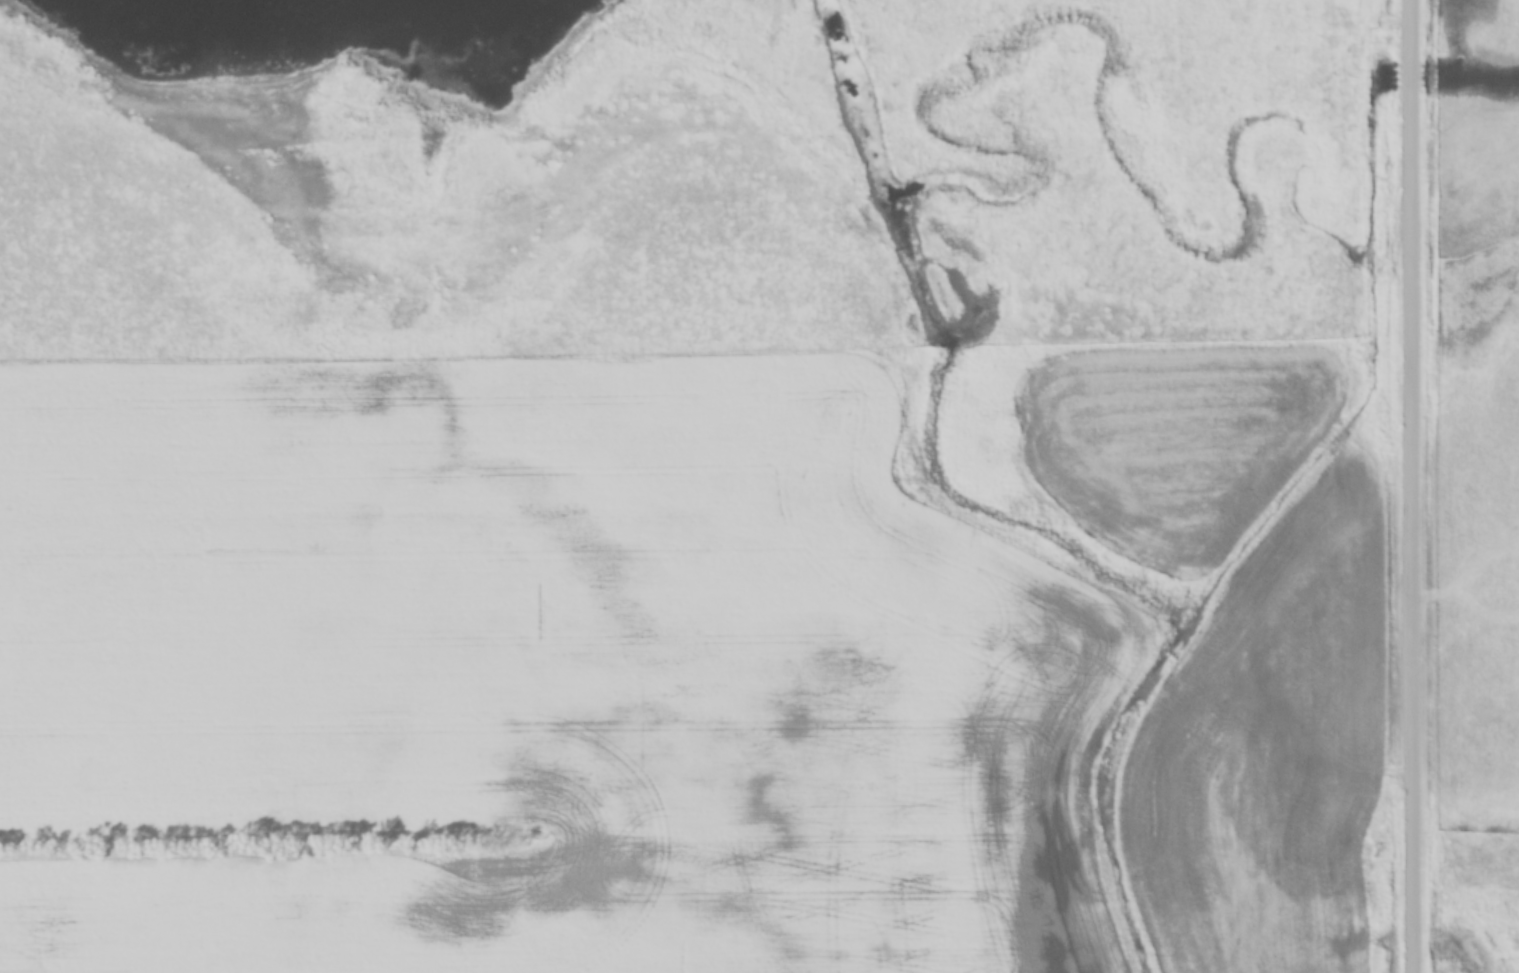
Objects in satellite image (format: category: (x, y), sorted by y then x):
road: (1416, 486)

